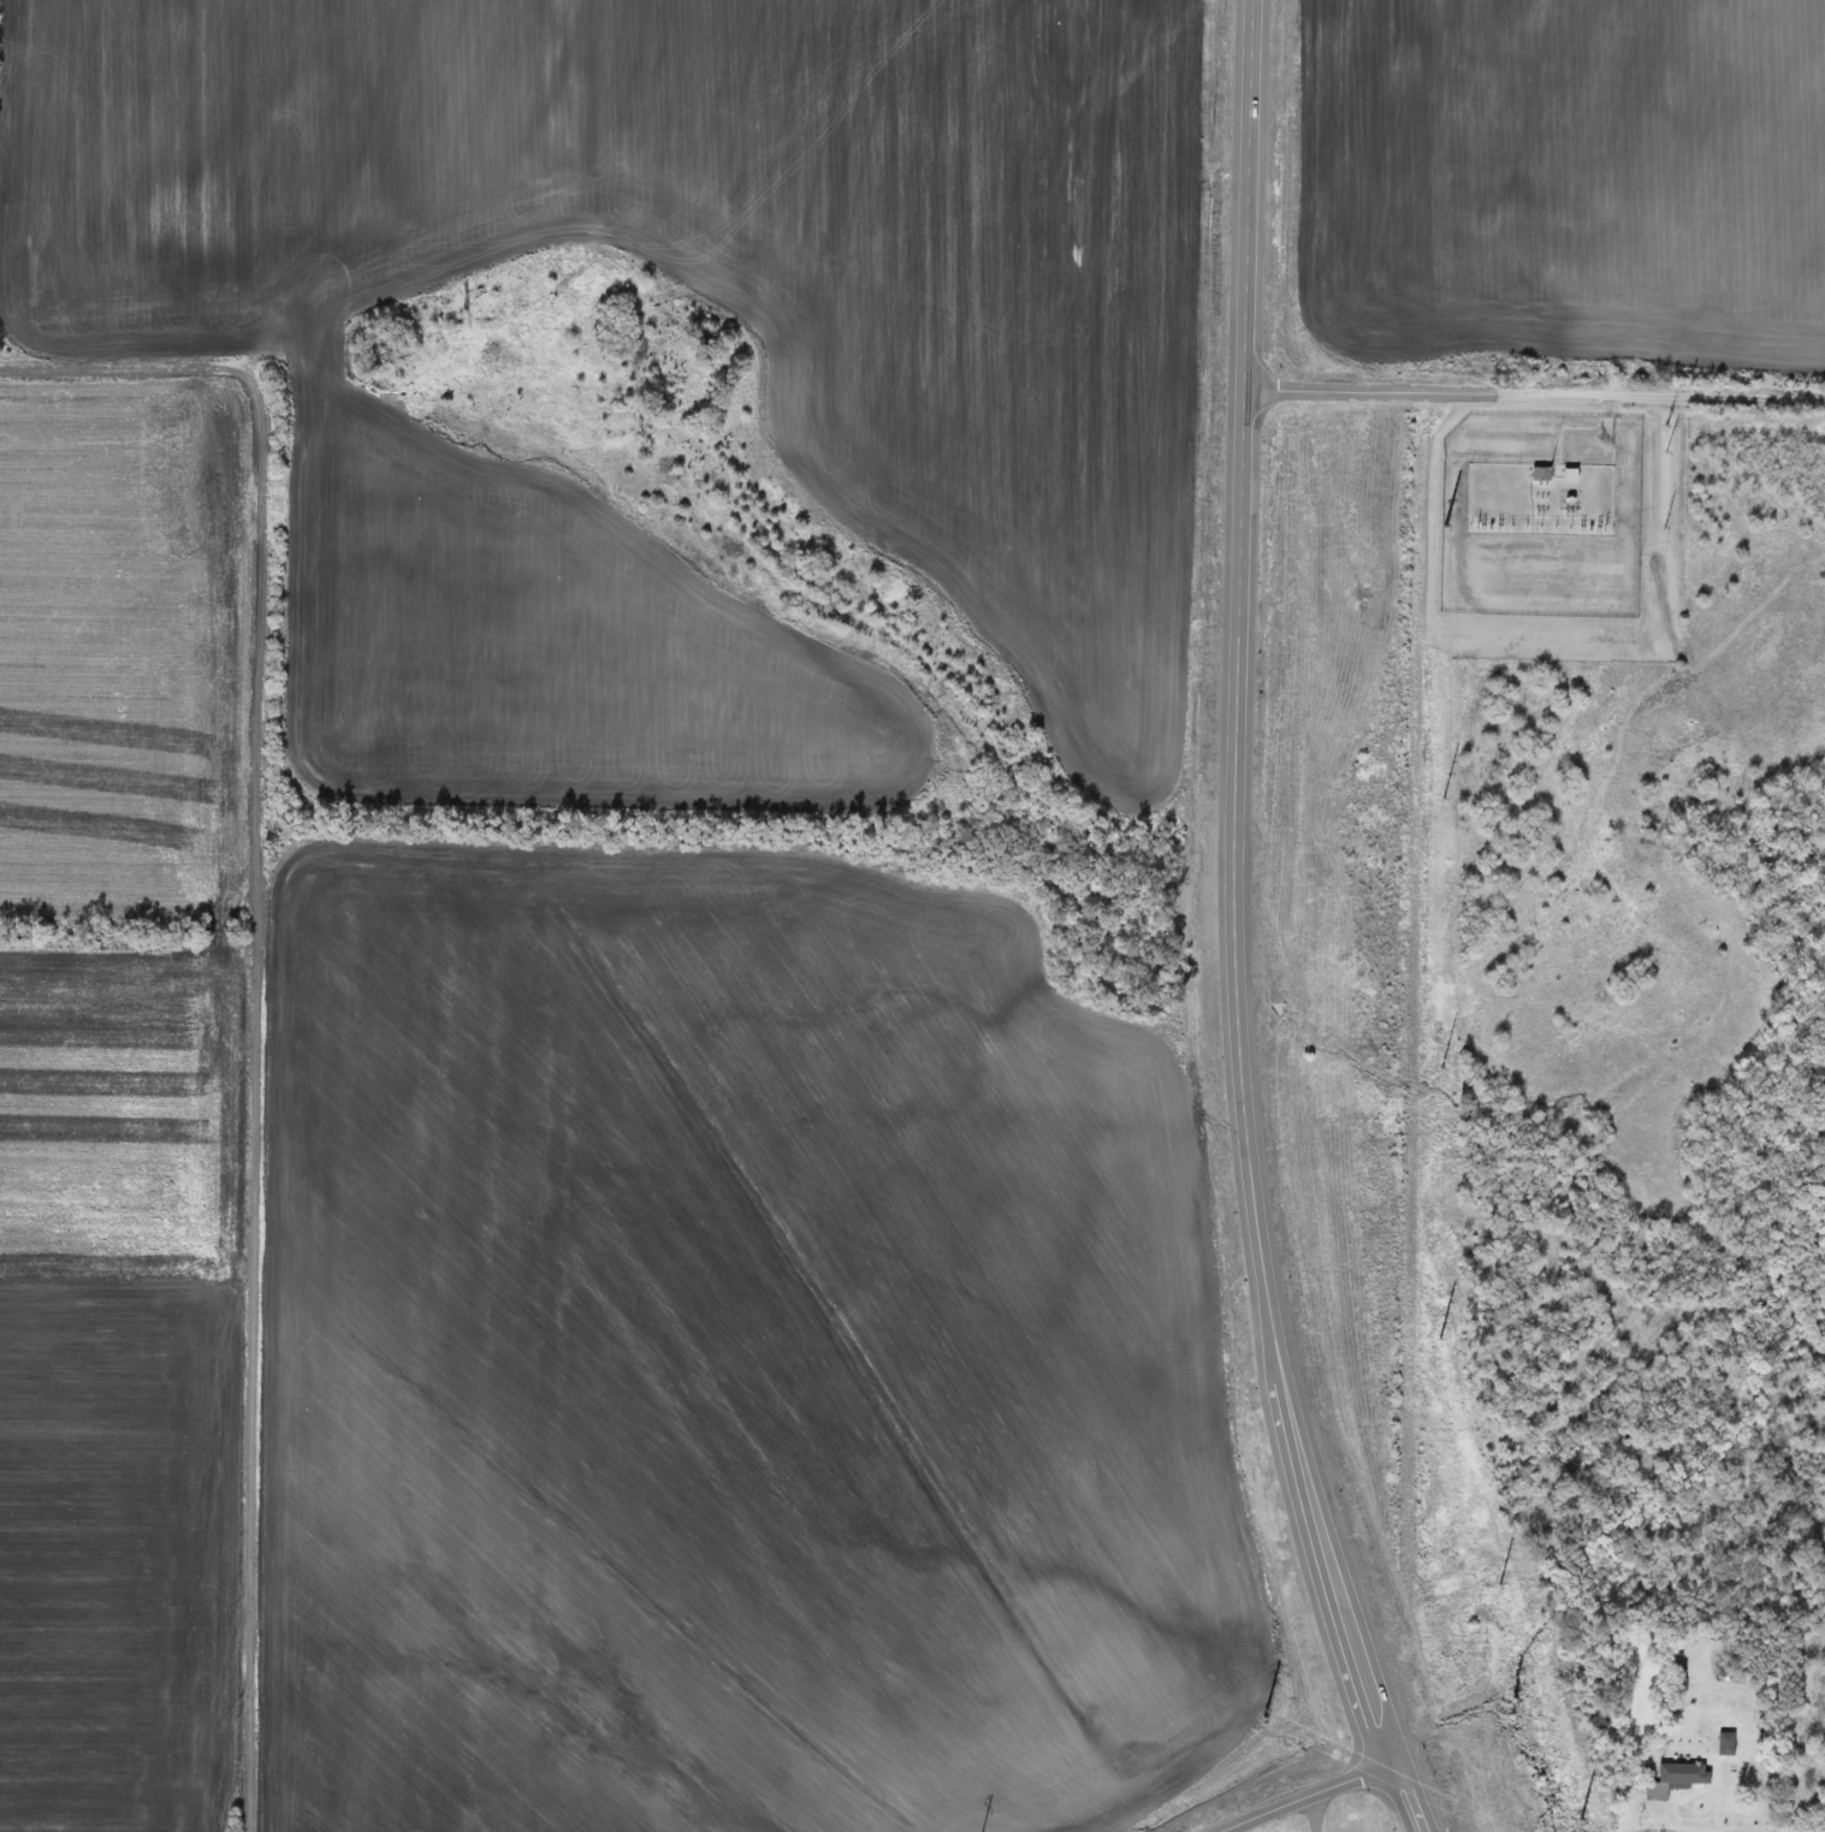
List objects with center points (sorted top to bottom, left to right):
road: (1536, 396)
building: (1540, 475)
road: (1236, 930)
road: (1416, 948)
road: (269, 964)
building: (1726, 1745)
building: (1678, 1779)
road: (1329, 1806)
road: (1317, 1821)

